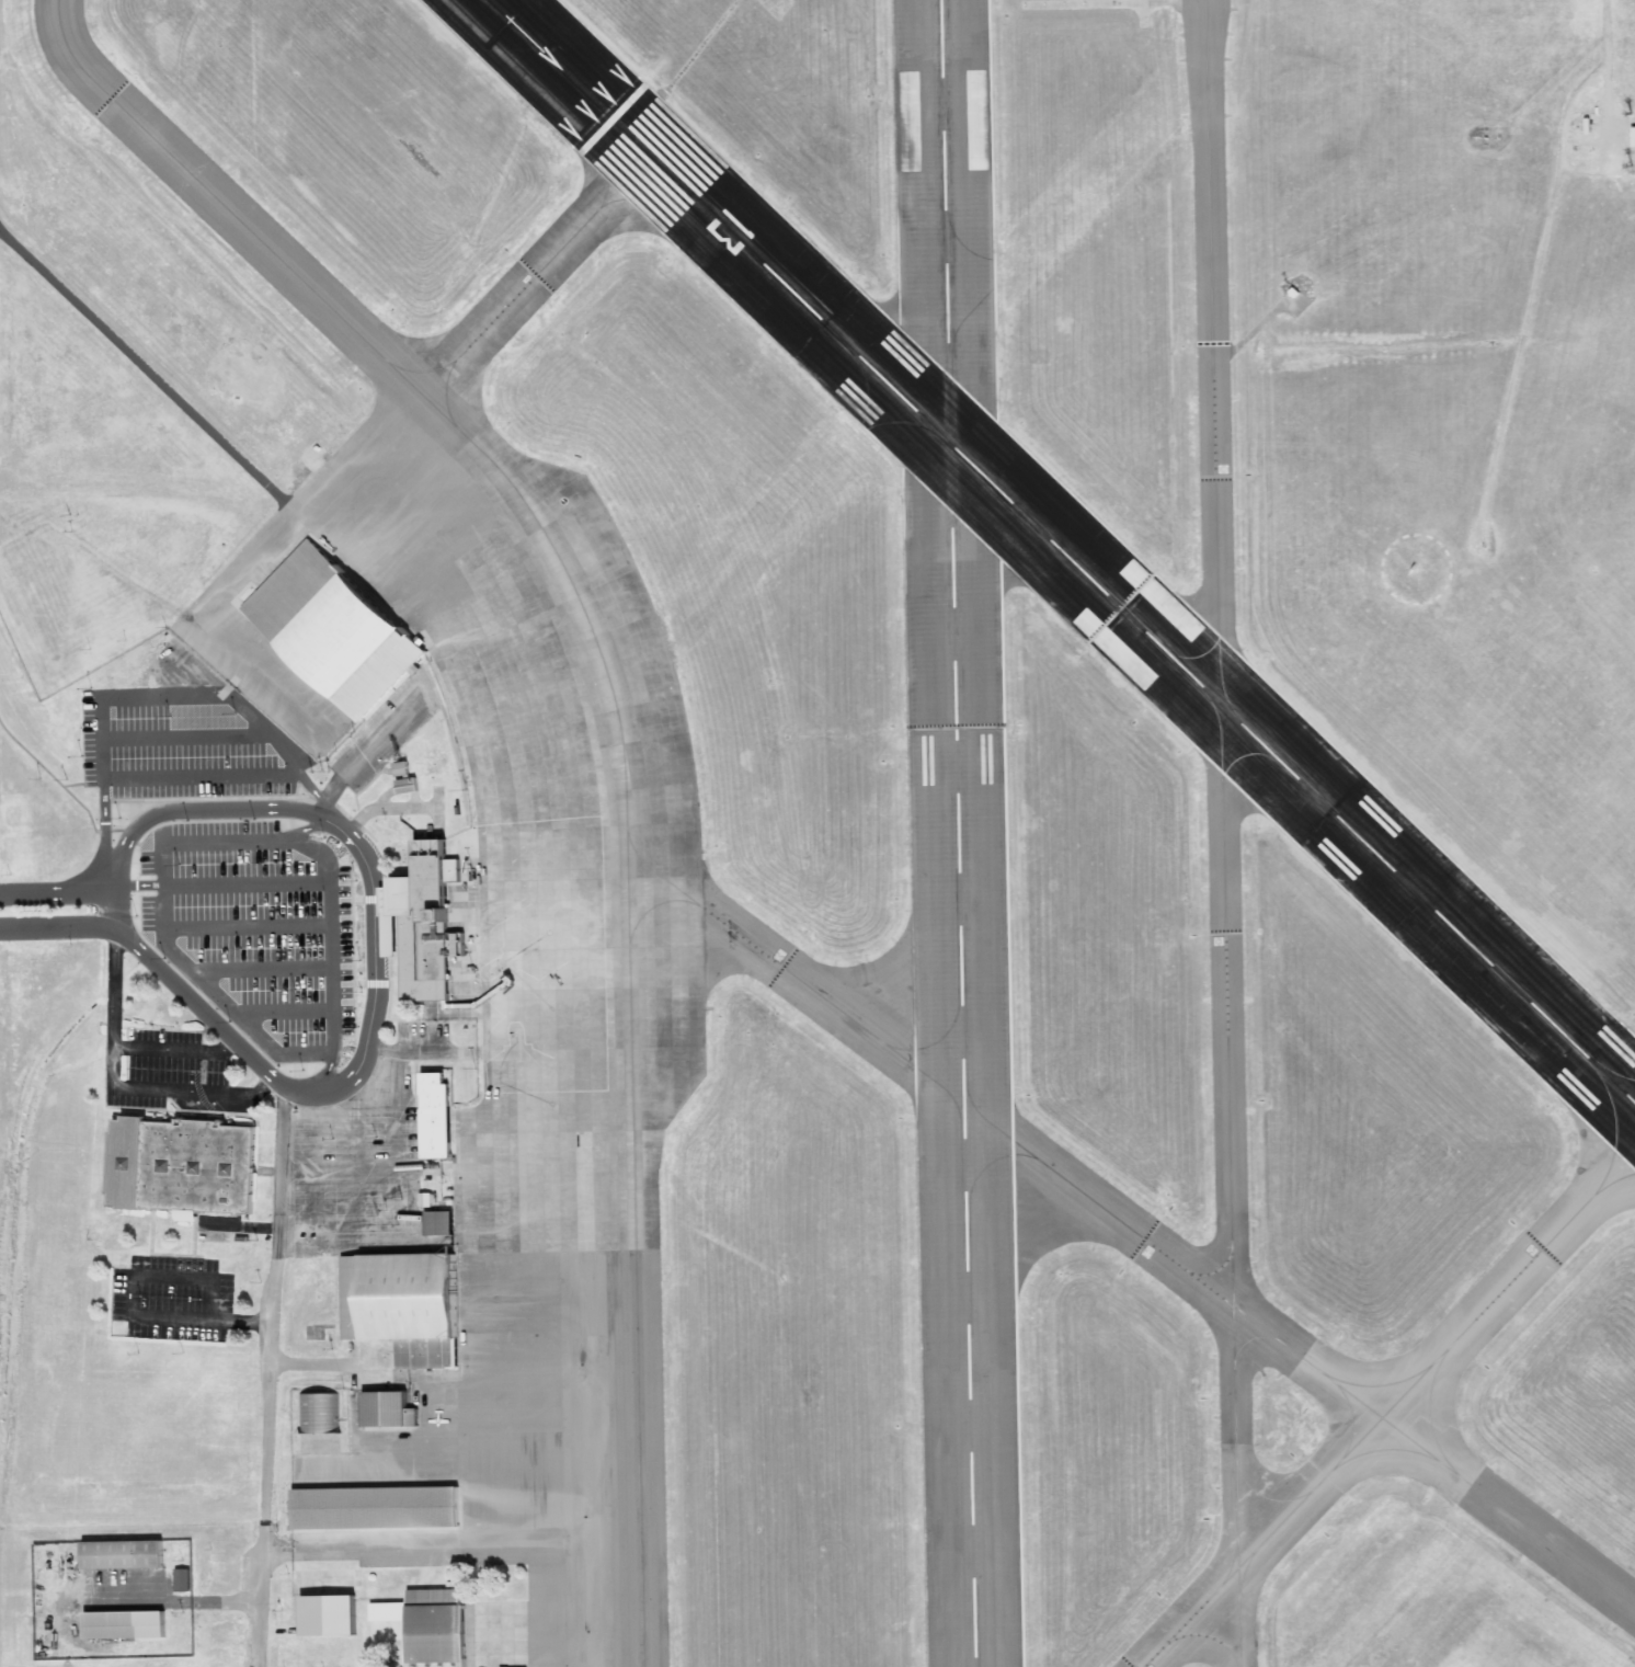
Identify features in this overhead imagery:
building: (1611, 141)
airport taxiway: (216, 198)
airport taxiway: (537, 276)
airport taxiway: (1214, 352)
airport runway: (1062, 551)
airport hangar: (334, 629)
building: (334, 629)
road: (178, 696)
building: (1181, 724)
parking lot: (388, 729)
road: (186, 739)
parking lot: (176, 746)
road: (369, 750)
road: (202, 777)
building: (403, 777)
road: (321, 802)
road: (317, 827)
road: (105, 829)
airport: (817, 833)
airport runway: (959, 833)
road: (238, 842)
road: (330, 884)
road: (140, 886)
road: (62, 893)
road: (117, 900)
airport terminal: (425, 924)
building: (425, 924)
road: (59, 927)
road: (226, 927)
parking lot: (256, 930)
road: (263, 970)
road: (375, 973)
airport taxiway: (630, 987)
airport taxiway: (1227, 1006)
road: (284, 1012)
road: (236, 1013)
airport apron: (484, 1044)
road: (174, 1049)
road: (405, 1052)
parking lot: (167, 1069)
road: (327, 1075)
road: (118, 1087)
building: (438, 1116)
road: (361, 1121)
parking lot: (366, 1160)
building: (184, 1165)
road: (295, 1176)
road: (361, 1184)
building: (441, 1223)
airport taxiway: (1132, 1228)
road: (412, 1245)
airport taxiway: (1508, 1286)
parking lot: (173, 1299)
airport hangar: (403, 1305)
building: (403, 1305)
road: (130, 1309)
road: (339, 1363)
road: (272, 1377)
building: (389, 1409)
building: (320, 1414)
airport taxiway: (1236, 1487)
airport hangar: (376, 1507)
building: (376, 1507)
airport taxiway: (1261, 1541)
building: (124, 1556)
building: (182, 1580)
road: (187, 1601)
building: (324, 1617)
building: (122, 1625)
airport hangar: (437, 1628)
building: (437, 1628)

